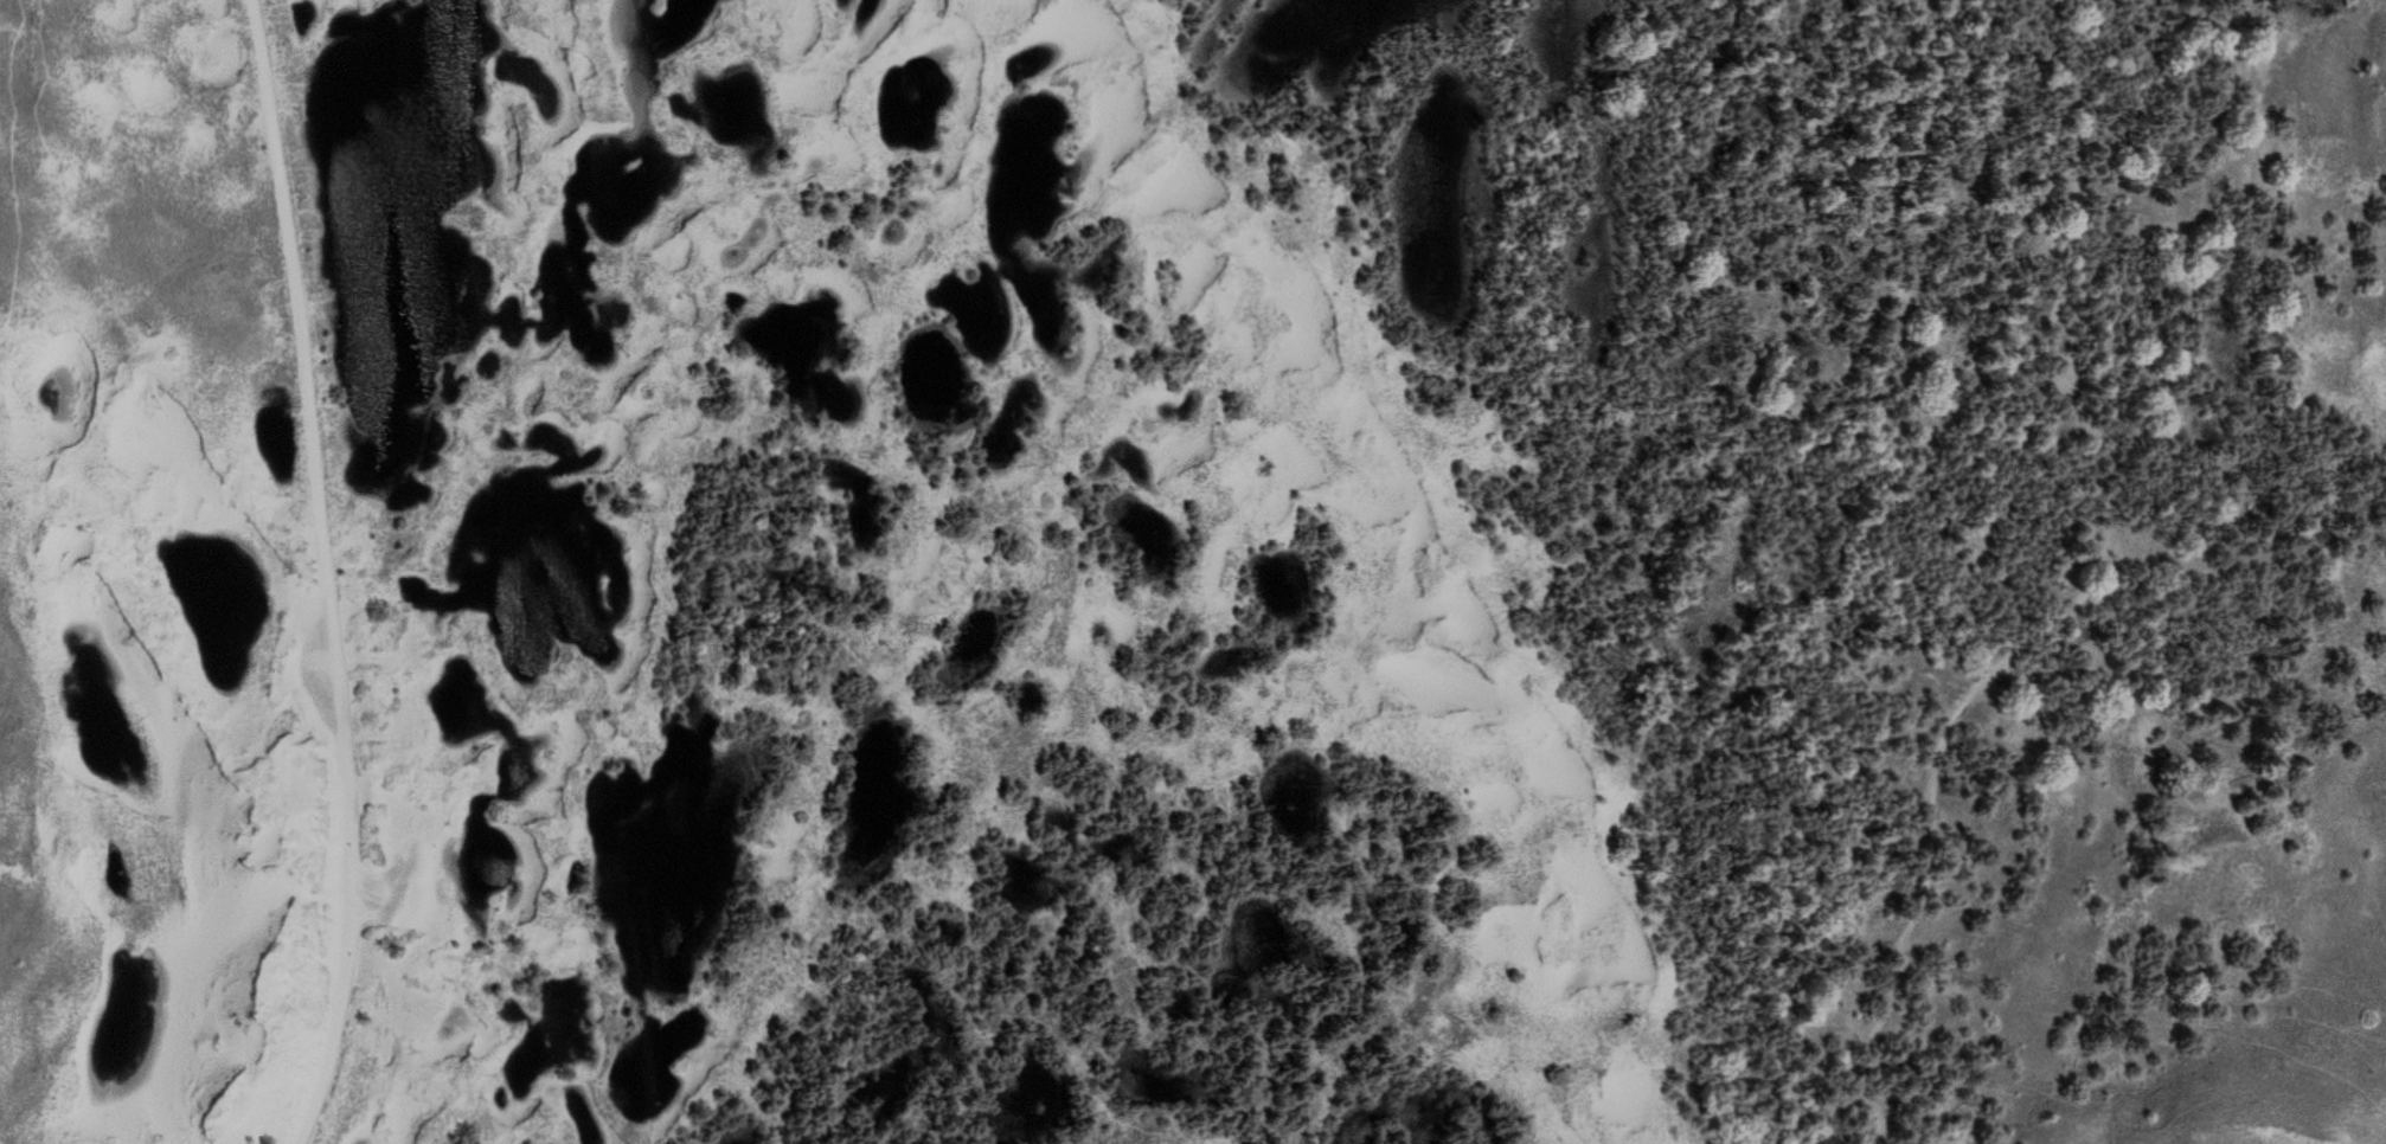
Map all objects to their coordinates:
road: (297, 36)
park: (1193, 572)
road: (327, 573)
road: (2079, 586)

